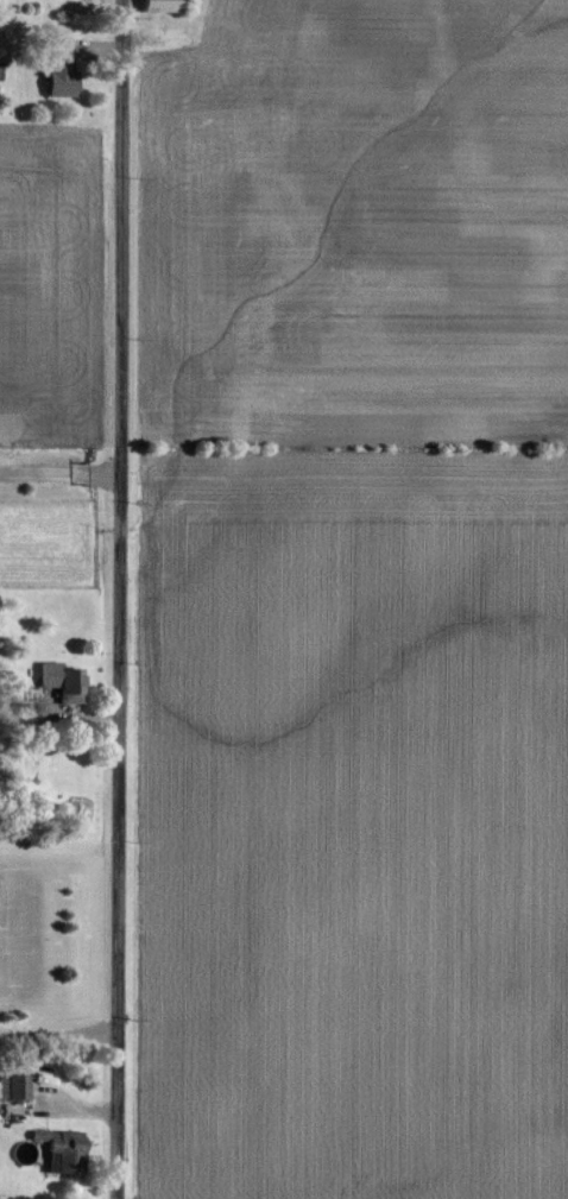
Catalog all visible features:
building: (163, 6)
road: (62, 473)
road: (125, 599)
building: (64, 682)
road: (63, 1037)
building: (14, 1086)
building: (63, 1149)

